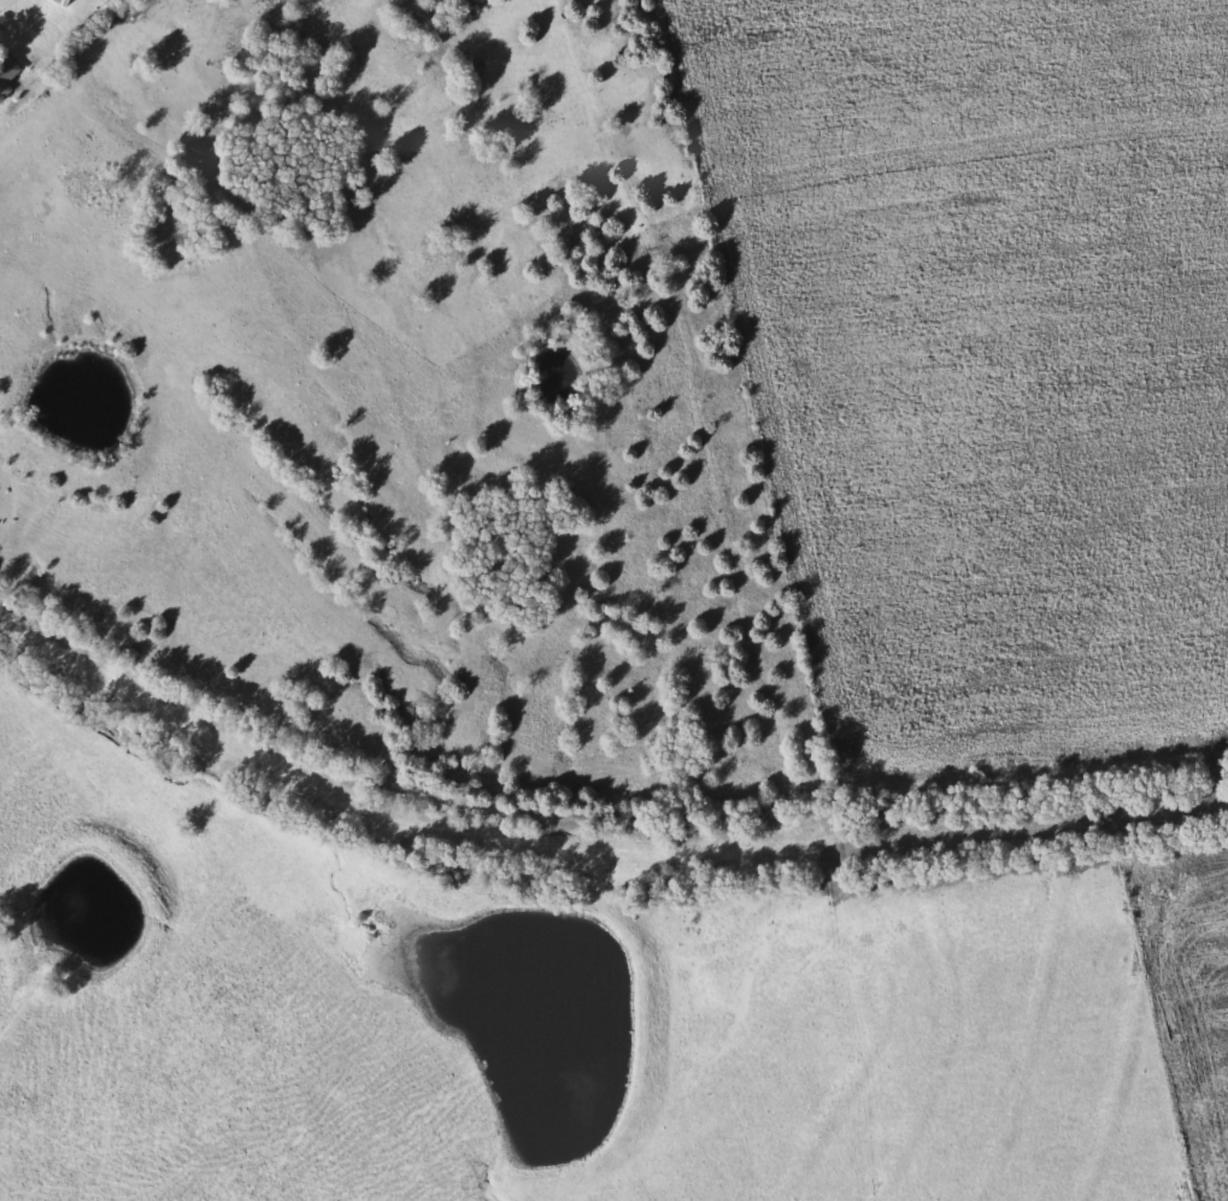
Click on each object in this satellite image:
building: (57, 2)
building: (6, 69)

